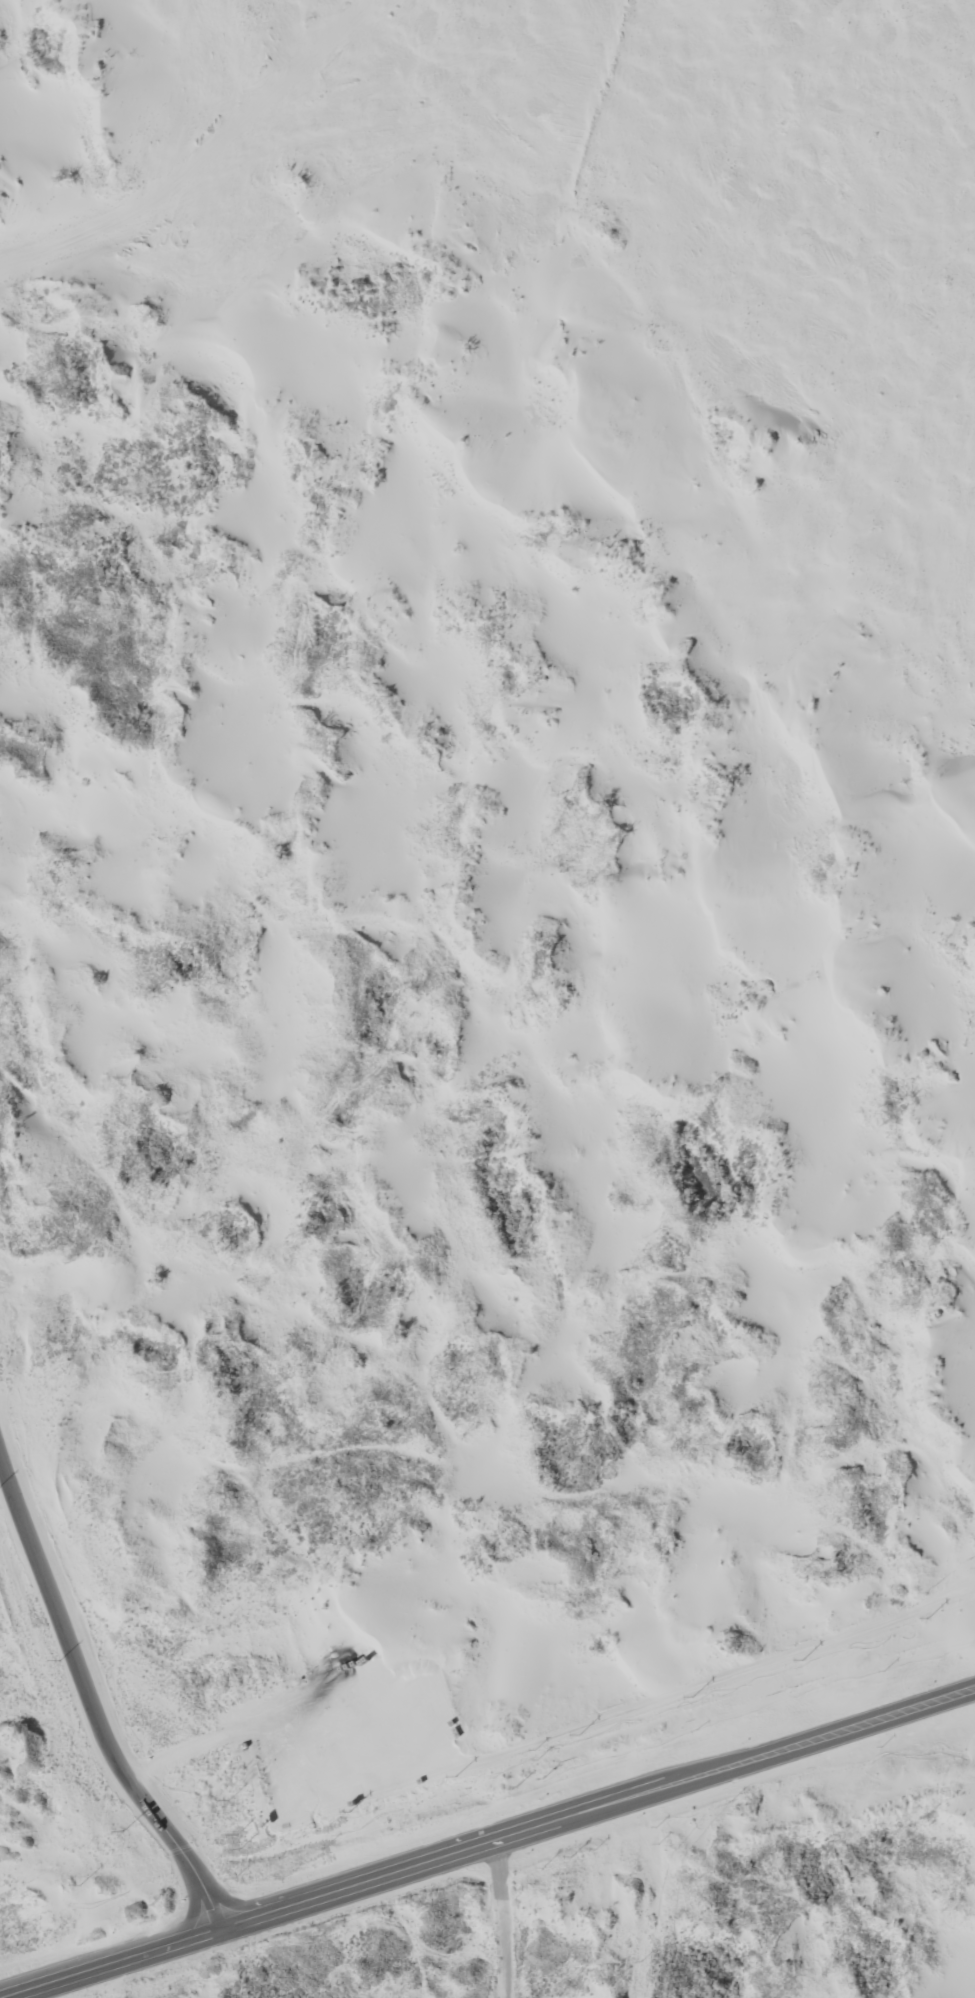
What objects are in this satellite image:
road: (487, 1840)

